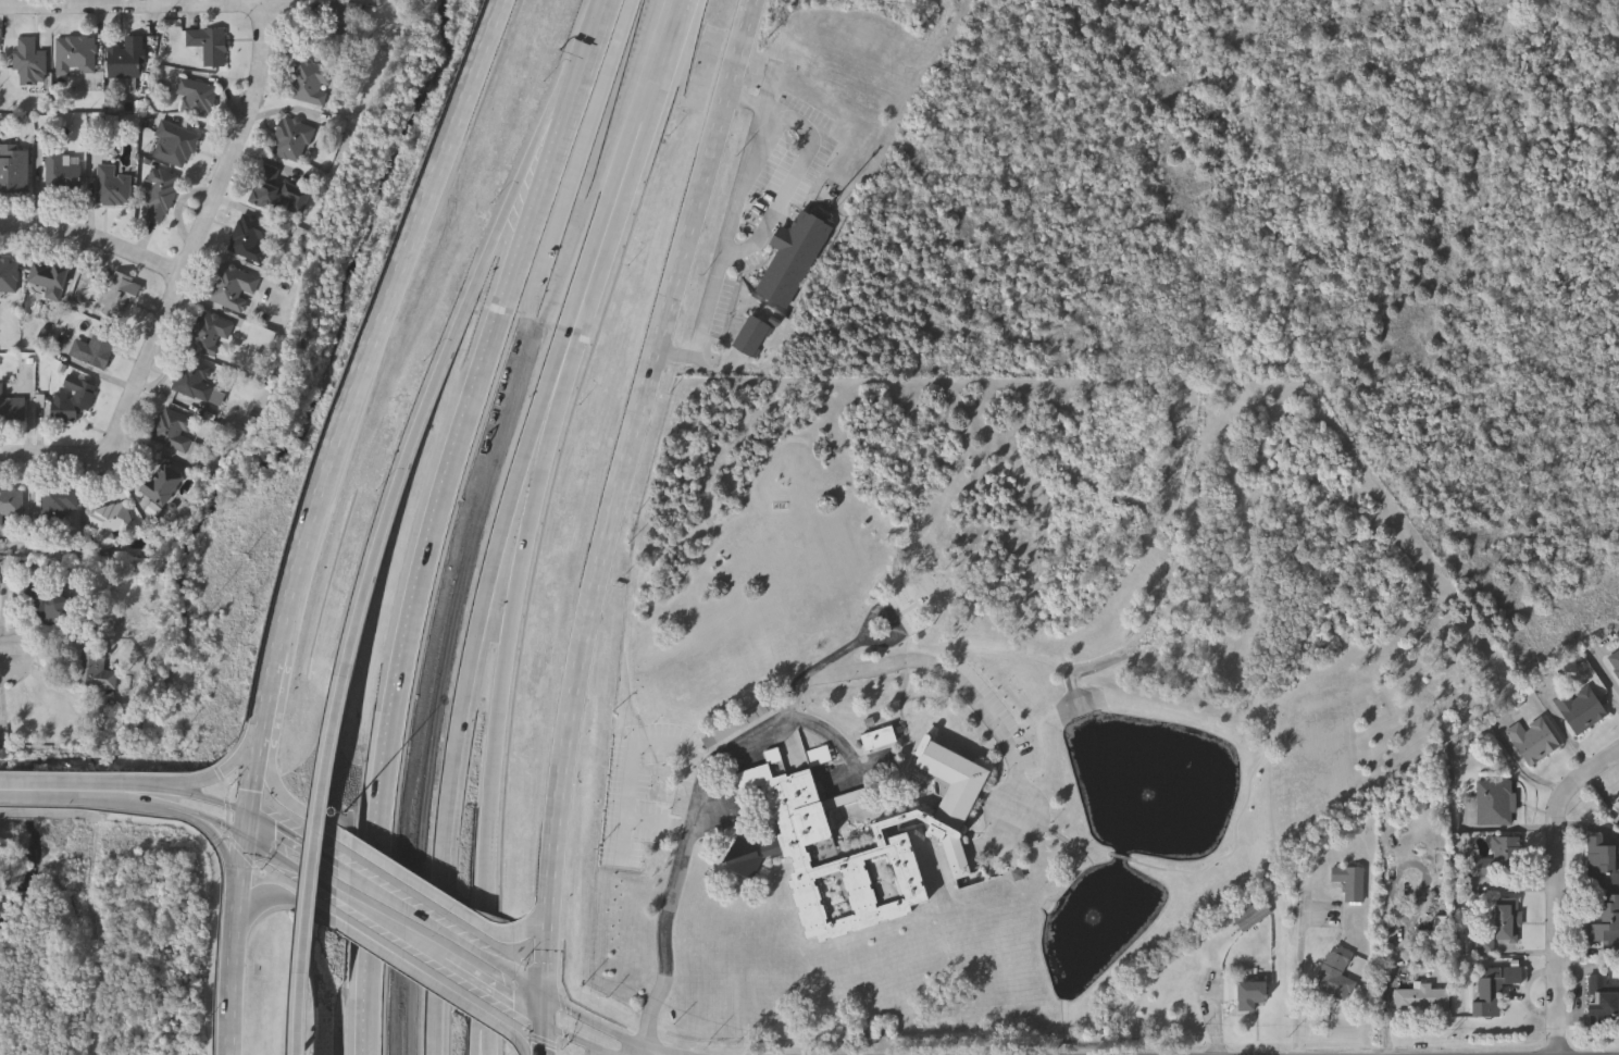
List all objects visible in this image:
road: (676, 2)
road: (133, 7)
building: (337, 27)
road: (596, 30)
building: (209, 46)
building: (75, 57)
building: (126, 59)
building: (29, 63)
building: (311, 84)
building: (197, 98)
building: (291, 140)
road: (631, 144)
building: (174, 146)
building: (14, 170)
building: (61, 174)
building: (111, 188)
building: (279, 196)
building: (159, 197)
road: (730, 234)
road: (200, 235)
building: (250, 239)
road: (94, 241)
building: (794, 258)
building: (10, 278)
building: (49, 280)
building: (233, 288)
building: (121, 294)
building: (210, 335)
building: (752, 335)
building: (95, 349)
road: (558, 352)
road: (446, 362)
building: (194, 381)
building: (74, 401)
building: (12, 409)
road: (358, 414)
building: (173, 431)
road: (54, 457)
building: (166, 485)
building: (11, 504)
building: (58, 505)
road: (602, 519)
building: (113, 523)
road: (428, 548)
building: (46, 606)
road: (500, 650)
road: (2, 660)
building: (1615, 662)
road: (937, 663)
building: (98, 672)
building: (1580, 709)
road: (456, 735)
building: (1533, 741)
building: (876, 742)
road: (632, 770)
road: (270, 775)
road: (212, 777)
road: (70, 792)
road: (196, 797)
fountain: (1148, 797)
building: (1494, 803)
building: (1617, 807)
traffic signals: (250, 812)
road: (194, 816)
road: (264, 821)
road: (693, 822)
building: (794, 841)
traffic signals: (246, 842)
road: (260, 848)
road: (310, 849)
road: (224, 857)
building: (1498, 860)
road: (315, 865)
building: (1602, 866)
road: (398, 873)
building: (1347, 883)
road: (1557, 890)
road: (264, 897)
building: (1250, 917)
fountain: (1093, 919)
building: (1507, 920)
building: (1604, 920)
road: (426, 921)
road: (393, 929)
road: (530, 934)
road: (238, 947)
road: (404, 966)
building: (1334, 975)
road: (1299, 983)
building: (1493, 989)
traffic signals: (543, 991)
building: (1244, 994)
building: (1602, 998)
building: (1420, 1000)
road: (577, 1013)
traffic signals: (540, 1020)
road: (557, 1030)
road: (481, 1042)
road: (483, 1042)
road: (520, 1043)

